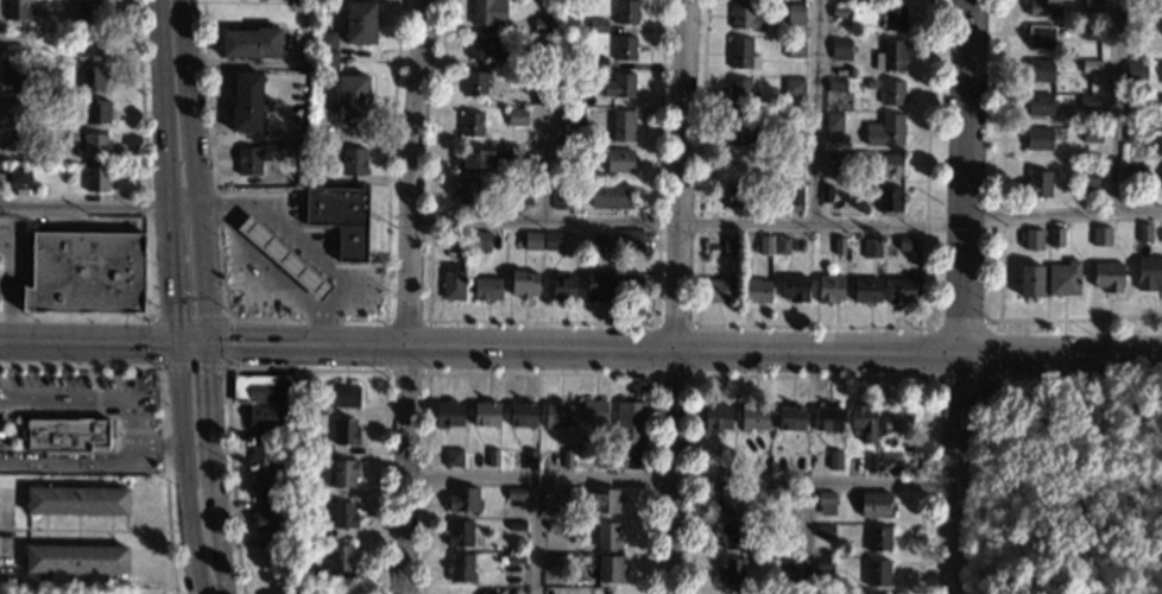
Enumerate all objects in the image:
building: (841, 1)
building: (1092, 5)
building: (1044, 8)
building: (15, 10)
building: (88, 12)
building: (488, 12)
building: (626, 12)
building: (841, 12)
building: (795, 14)
building: (745, 17)
building: (893, 18)
building: (1142, 20)
building: (359, 23)
building: (542, 25)
building: (598, 26)
building: (1091, 33)
building: (1041, 37)
building: (326, 39)
building: (251, 43)
building: (91, 45)
building: (486, 46)
building: (624, 48)
building: (795, 48)
building: (840, 49)
building: (12, 51)
building: (740, 52)
building: (890, 56)
building: (327, 59)
building: (541, 59)
road: (241, 63)
building: (595, 63)
building: (1091, 67)
building: (1041, 70)
building: (850, 71)
building: (1135, 74)
building: (13, 75)
building: (91, 77)
building: (474, 83)
building: (870, 83)
building: (615, 86)
building: (836, 86)
building: (794, 87)
building: (740, 90)
building: (560, 93)
building: (892, 93)
building: (539, 94)
building: (352, 95)
building: (1090, 101)
building: (246, 102)
building: (1040, 105)
building: (1137, 105)
road: (1114, 106)
building: (12, 107)
building: (1161, 109)
building: (96, 110)
road: (968, 112)
road: (813, 113)
building: (517, 116)
building: (575, 119)
building: (833, 121)
building: (472, 124)
building: (621, 125)
building: (739, 127)
building: (884, 131)
building: (295, 134)
building: (320, 134)
building: (1092, 135)
building: (1137, 137)
building: (1040, 139)
building: (13, 140)
building: (1160, 144)
building: (93, 145)
building: (478, 158)
building: (833, 158)
building: (619, 159)
building: (792, 159)
building: (248, 160)
building: (353, 162)
building: (741, 163)
building: (888, 165)
road: (924, 165)
road: (171, 173)
building: (1135, 173)
building: (19, 175)
road: (197, 175)
building: (308, 177)
building: (1086, 177)
building: (96, 179)
building: (1037, 184)
building: (467, 191)
building: (825, 192)
building: (739, 195)
building: (795, 195)
building: (611, 196)
building: (518, 198)
building: (889, 198)
building: (562, 200)
road: (100, 208)
road: (1137, 210)
building: (341, 217)
road: (1040, 217)
road: (687, 226)
building: (1144, 232)
road: (147, 235)
building: (1056, 235)
building: (1100, 235)
building: (459, 236)
building: (1032, 238)
building: (480, 240)
building: (532, 240)
building: (551, 240)
building: (582, 241)
building: (630, 241)
building: (728, 244)
building: (904, 244)
building: (602, 245)
building: (764, 245)
building: (782, 245)
building: (839, 246)
building: (871, 248)
building: (284, 257)
building: (86, 273)
building: (1149, 273)
building: (1107, 276)
building: (1063, 278)
building: (1030, 279)
building: (453, 282)
road: (694, 283)
building: (523, 284)
building: (598, 284)
building: (629, 285)
road: (5, 286)
building: (562, 286)
road: (10, 287)
building: (487, 287)
building: (794, 287)
building: (829, 287)
road: (343, 289)
building: (718, 290)
building: (757, 290)
building: (866, 290)
building: (899, 290)
road: (408, 296)
road: (677, 296)
traffic signals: (181, 314)
road: (303, 318)
road: (1071, 320)
road: (539, 322)
road: (958, 324)
road: (321, 327)
road: (106, 345)
traffic signals: (150, 347)
traffic signals: (233, 349)
road: (585, 349)
road: (923, 353)
road: (1061, 353)
road: (222, 365)
road: (307, 371)
road: (424, 371)
traffic signals: (210, 373)
road: (536, 373)
road: (693, 375)
road: (697, 377)
building: (265, 388)
building: (335, 398)
road: (87, 400)
road: (160, 400)
road: (15, 407)
road: (958, 407)
road: (5, 411)
building: (486, 412)
building: (596, 412)
building: (449, 413)
building: (523, 413)
building: (557, 413)
building: (261, 417)
building: (716, 417)
building: (752, 417)
building: (791, 417)
building: (827, 418)
building: (896, 418)
building: (863, 422)
building: (631, 429)
building: (346, 431)
building: (292, 432)
building: (67, 434)
road: (192, 438)
road: (207, 438)
road: (160, 447)
building: (288, 448)
building: (307, 448)
building: (261, 451)
road: (4, 455)
road: (63, 456)
building: (454, 457)
building: (493, 457)
building: (530, 457)
building: (567, 459)
building: (604, 459)
building: (724, 459)
building: (762, 460)
building: (835, 461)
building: (890, 461)
building: (872, 462)
road: (75, 467)
building: (343, 473)
building: (289, 474)
road: (681, 480)
building: (265, 484)
road: (920, 484)
park: (1081, 484)
building: (304, 491)
building: (516, 493)
building: (557, 494)
building: (463, 498)
building: (77, 500)
building: (606, 501)
building: (731, 501)
building: (825, 501)
building: (874, 504)
building: (785, 511)
building: (343, 516)
building: (267, 522)
building: (517, 525)
building: (556, 526)
building: (784, 529)
road: (84, 530)
building: (825, 530)
building: (303, 532)
building: (460, 532)
road: (535, 536)
building: (608, 536)
building: (732, 536)
building: (878, 537)
road: (806, 538)
building: (817, 551)
building: (341, 558)
building: (562, 558)
building: (76, 560)
building: (516, 560)
road: (206, 561)
building: (783, 563)
building: (461, 568)
building: (822, 568)
building: (610, 569)
building: (731, 569)
building: (878, 573)
building: (303, 576)

